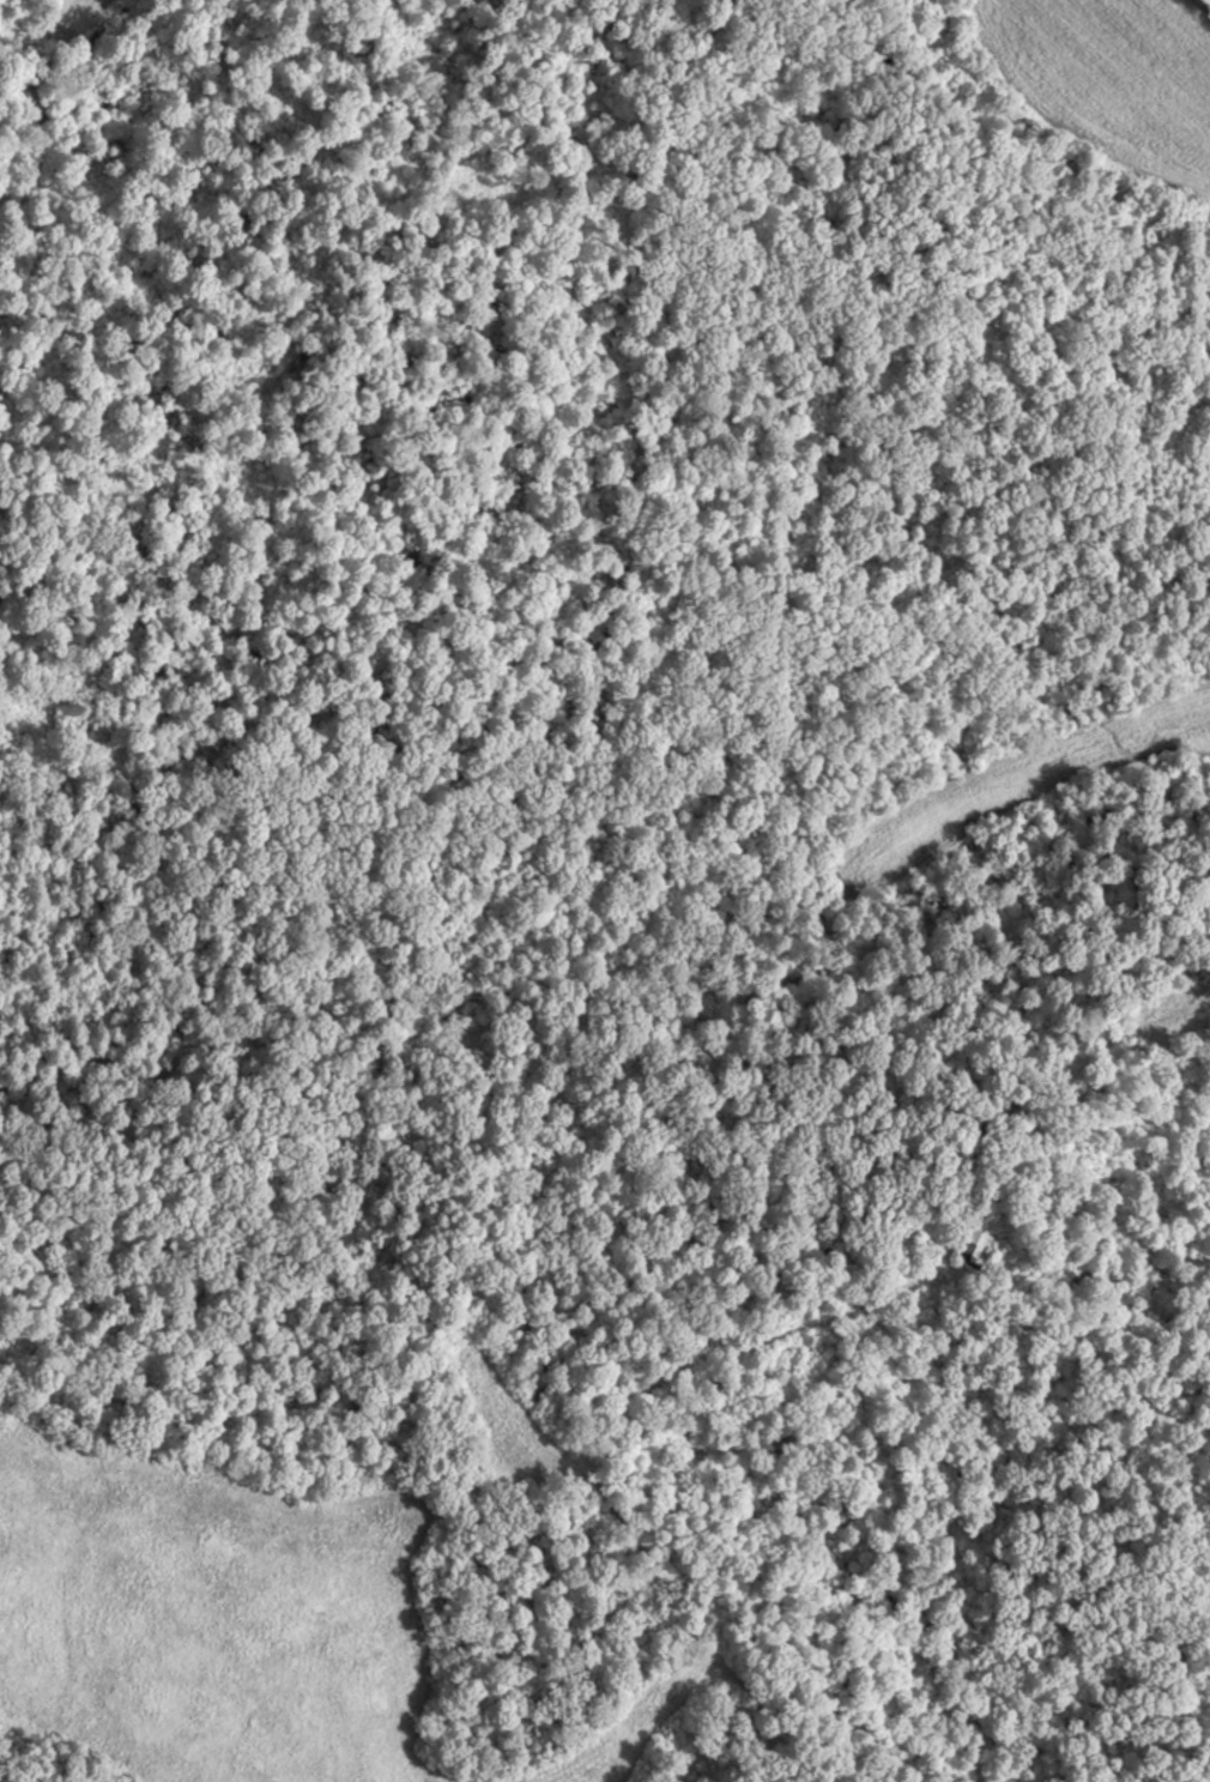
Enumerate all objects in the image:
building: (968, 1248)
road: (942, 1250)

